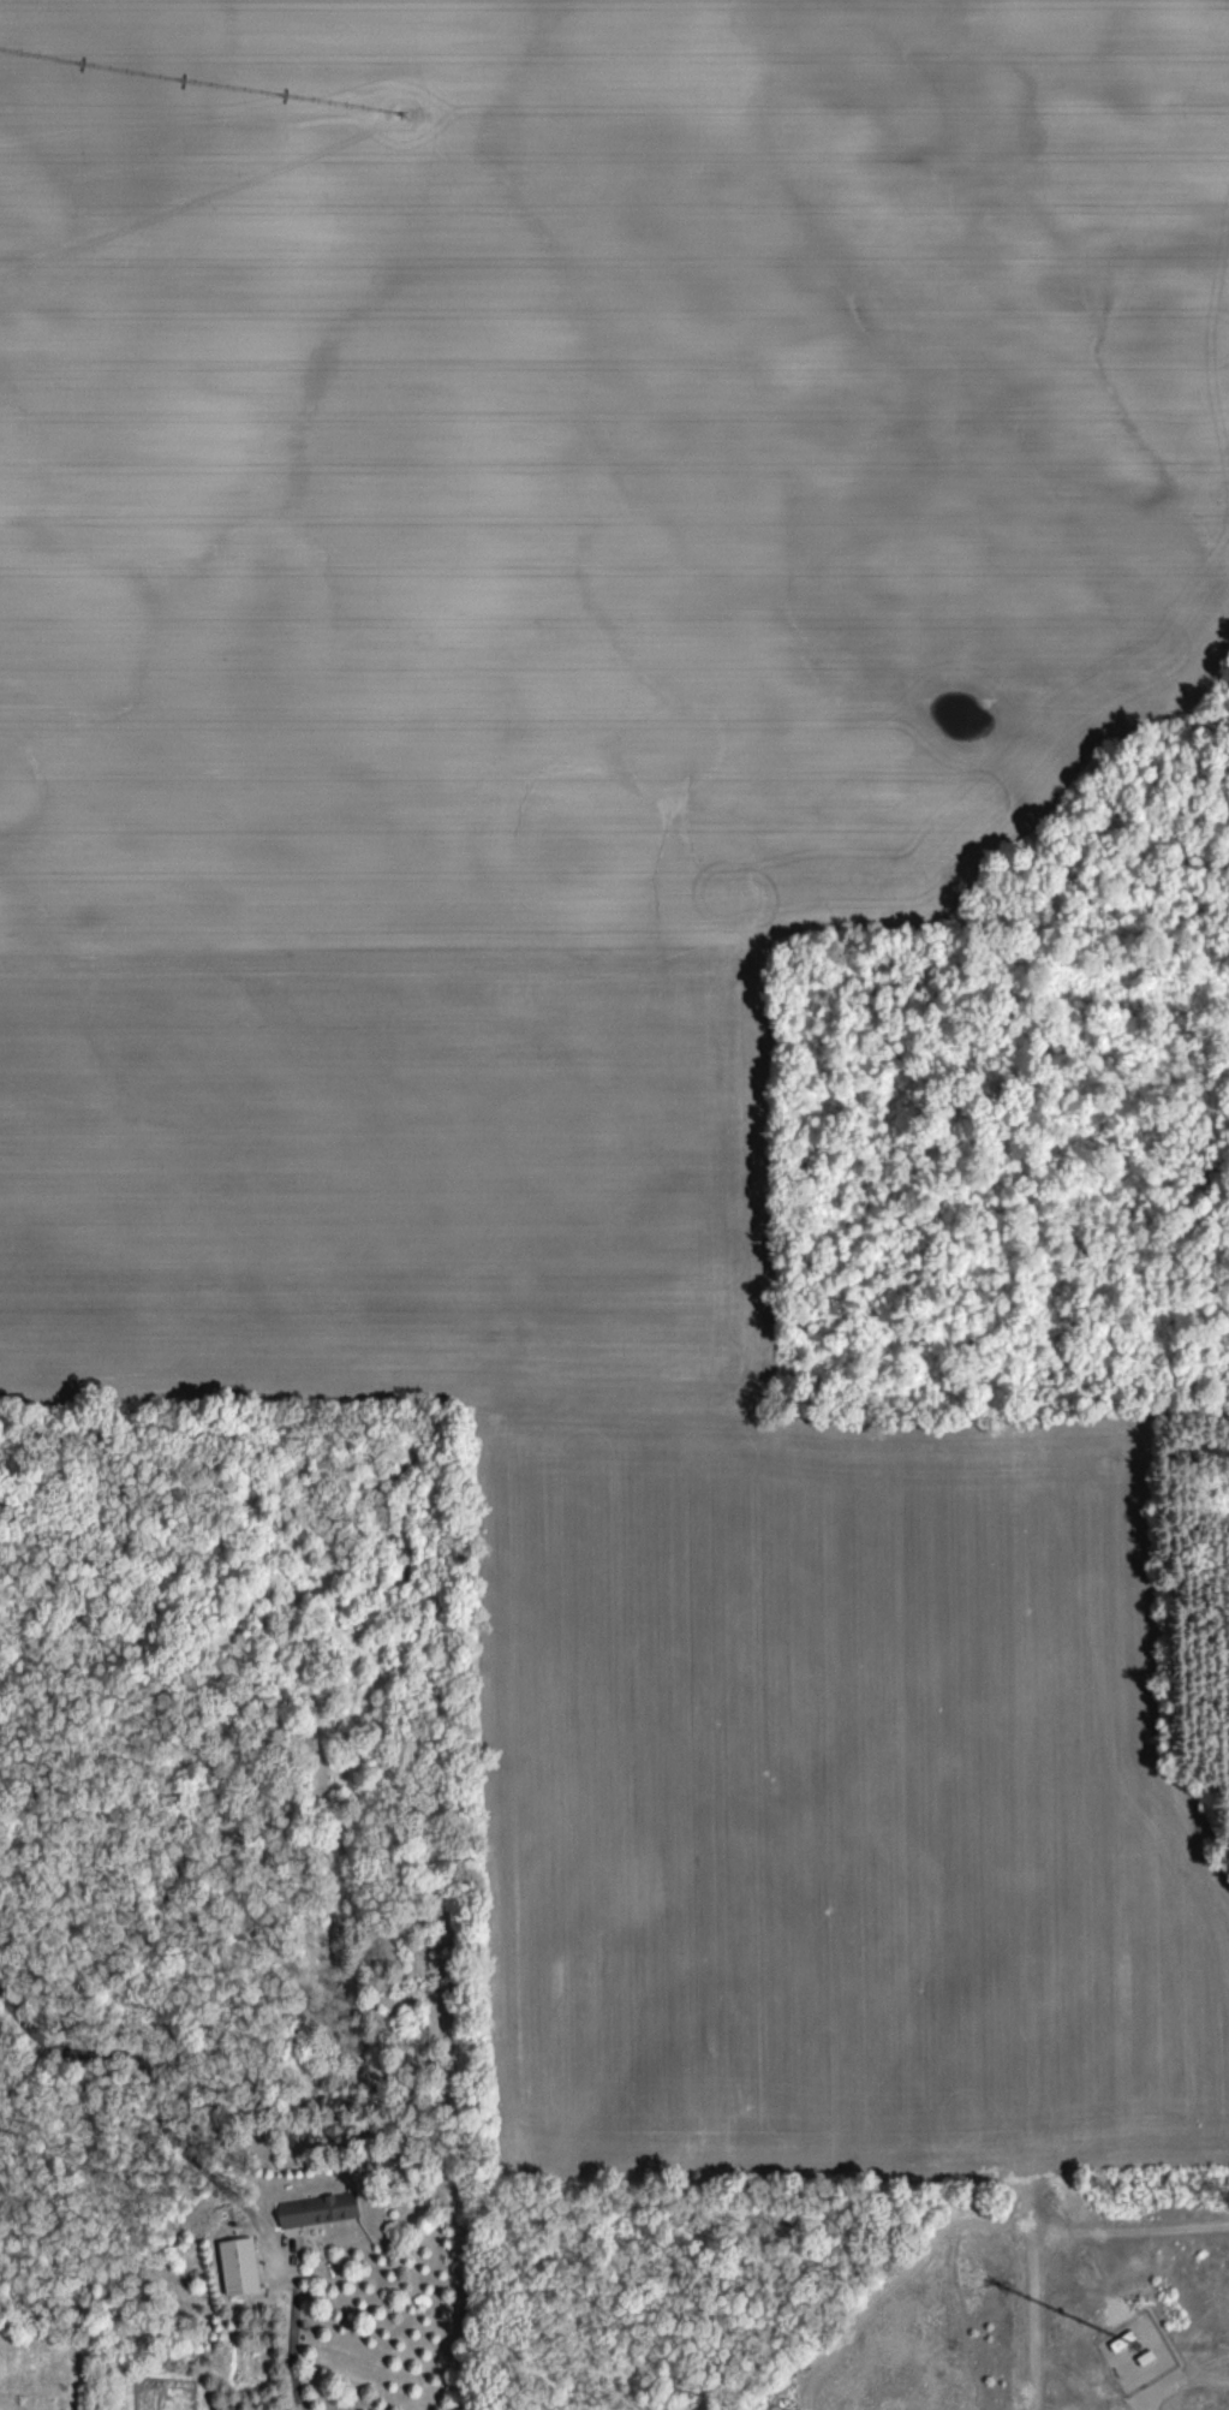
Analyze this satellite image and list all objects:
road: (160, 2100)
building: (316, 2208)
building: (234, 2263)
building: (1118, 2340)

